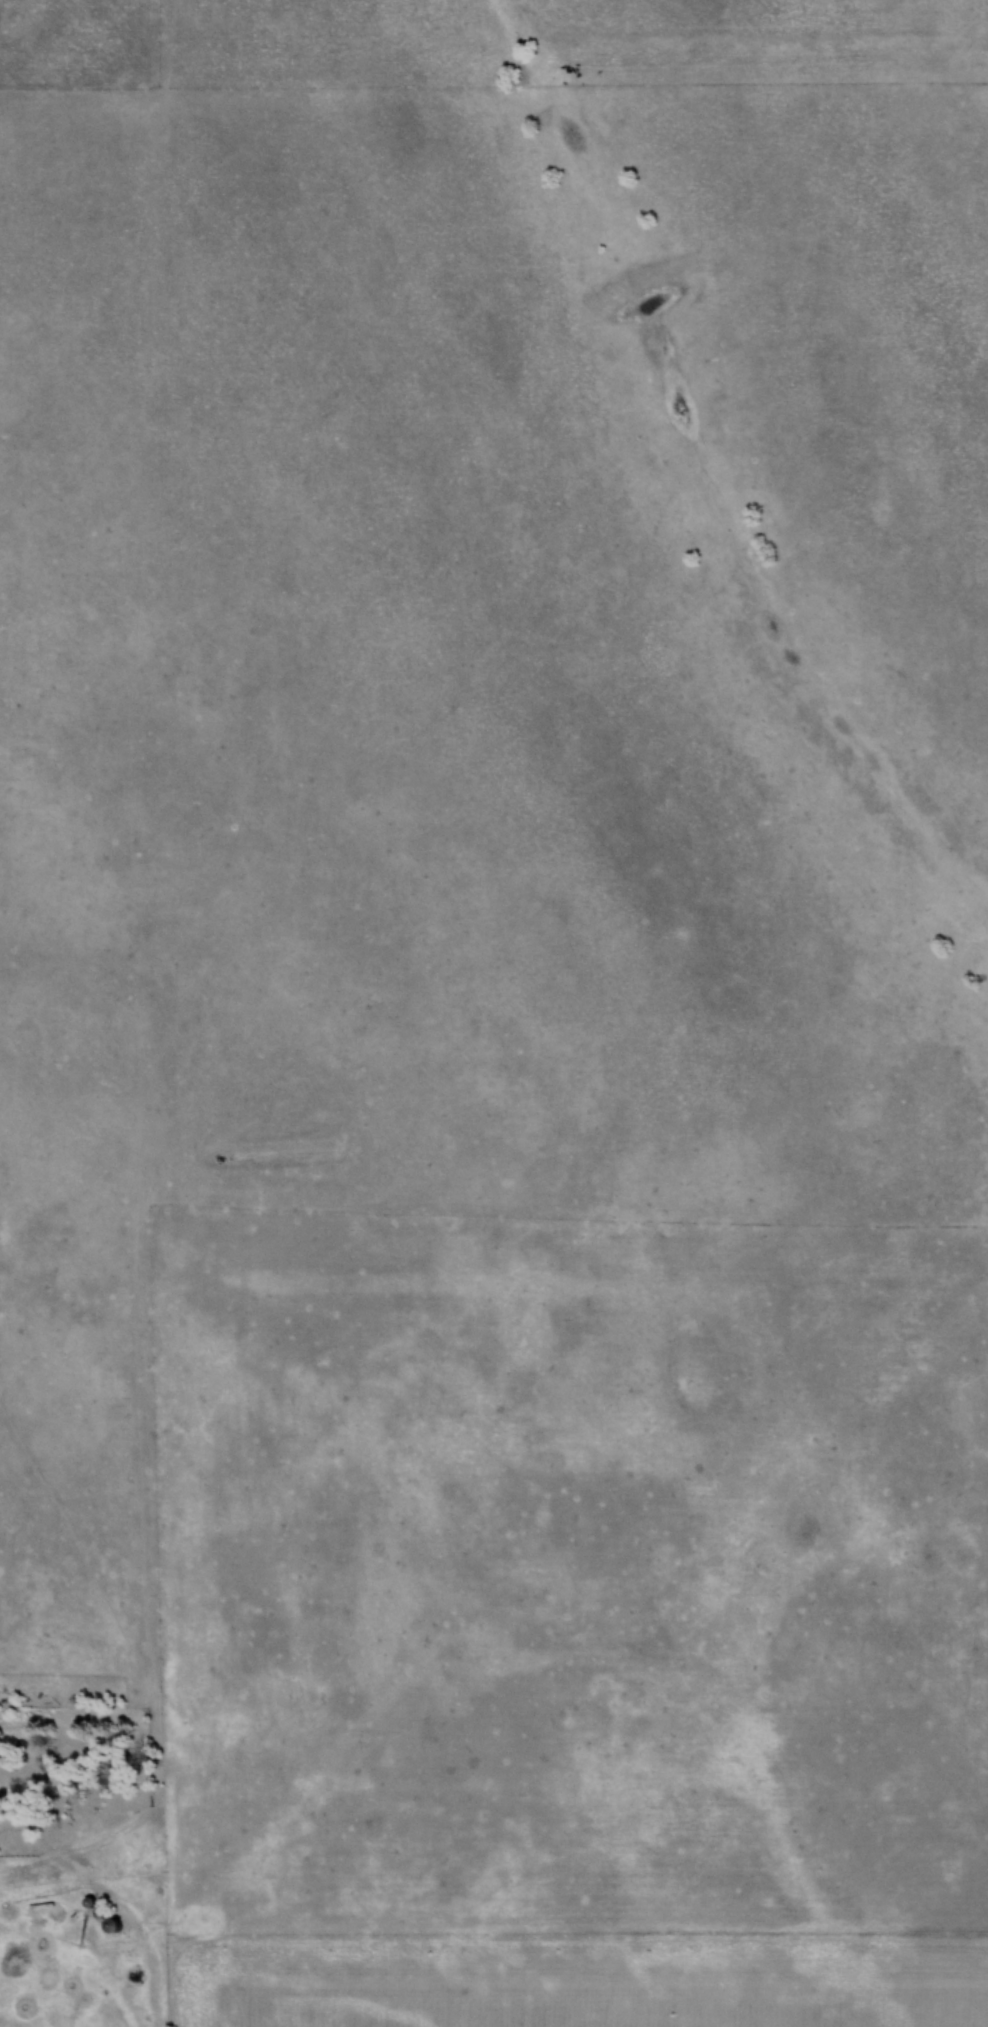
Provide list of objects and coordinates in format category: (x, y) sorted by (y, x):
road: (159, 2005)

